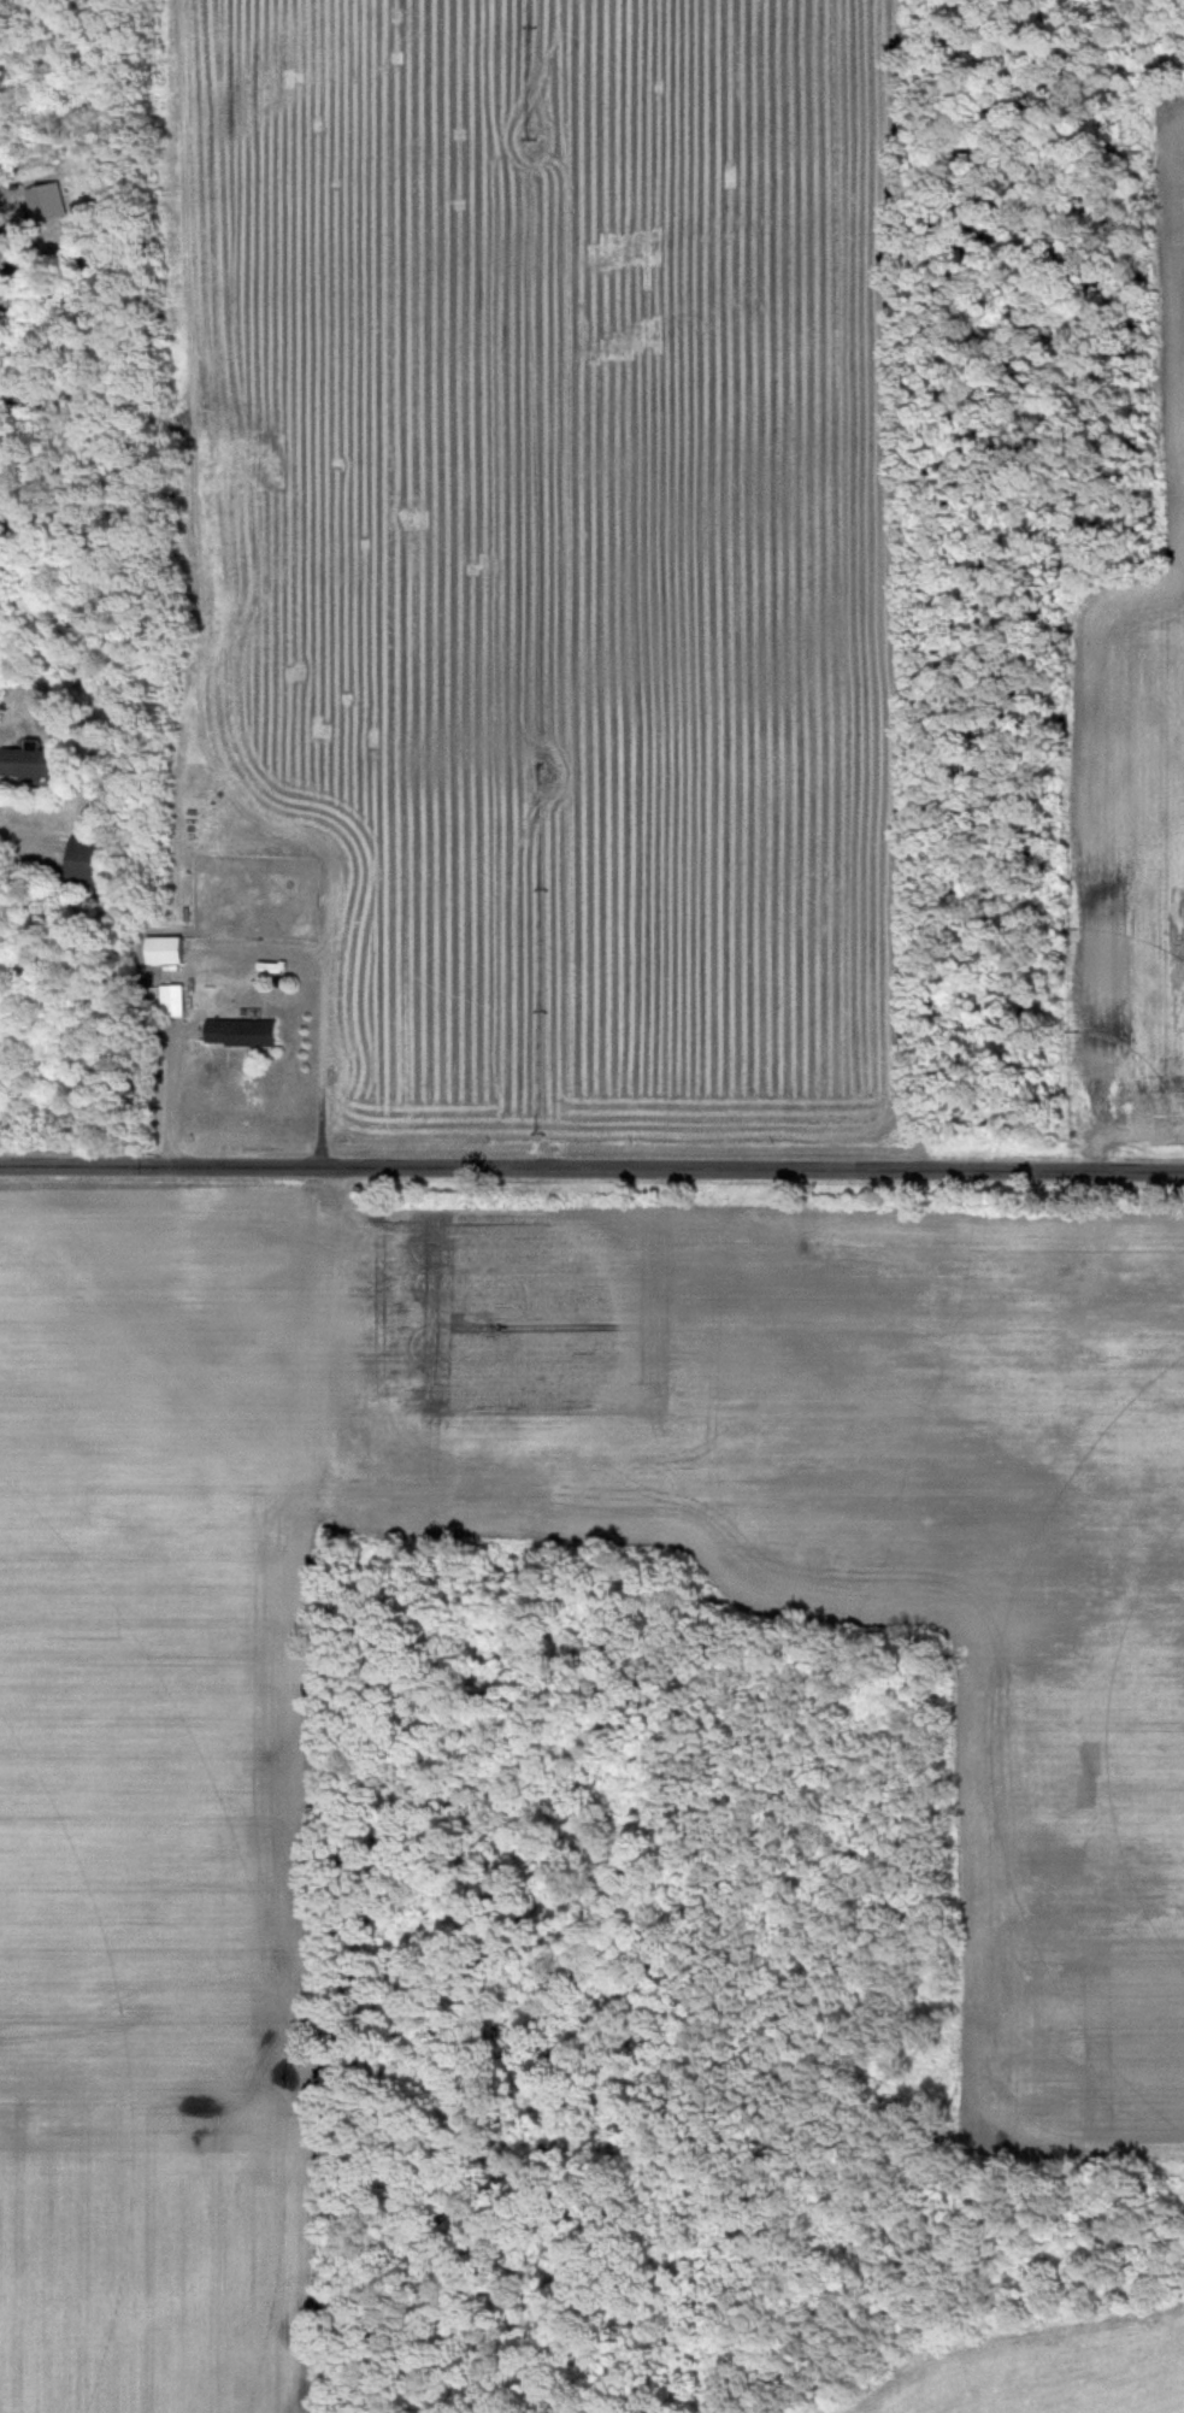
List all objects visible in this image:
building: (29, 764)
building: (90, 863)
building: (243, 1035)
road: (173, 1102)
road: (591, 1171)

